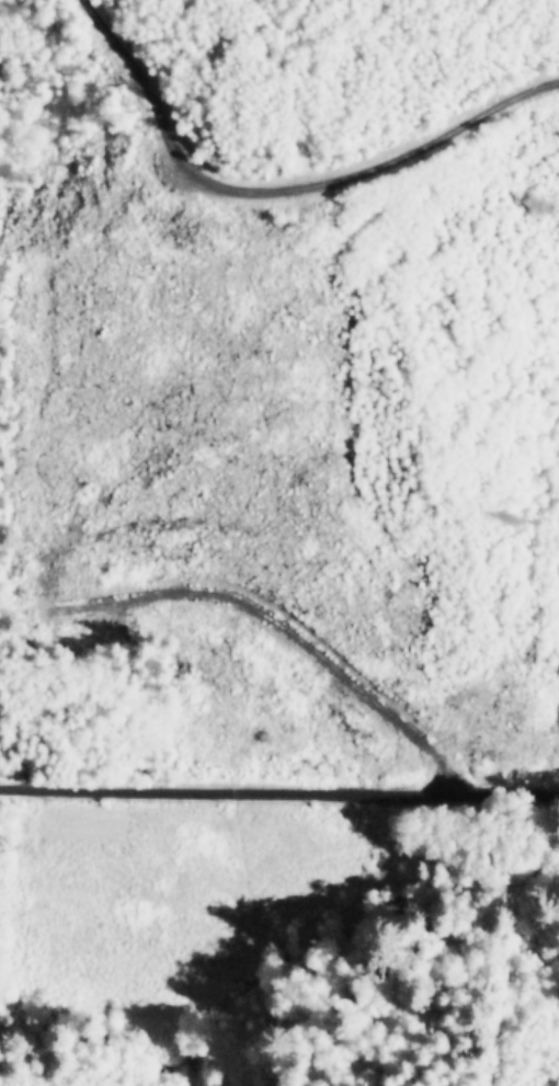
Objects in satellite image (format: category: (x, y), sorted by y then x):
road: (288, 195)
road: (279, 791)

